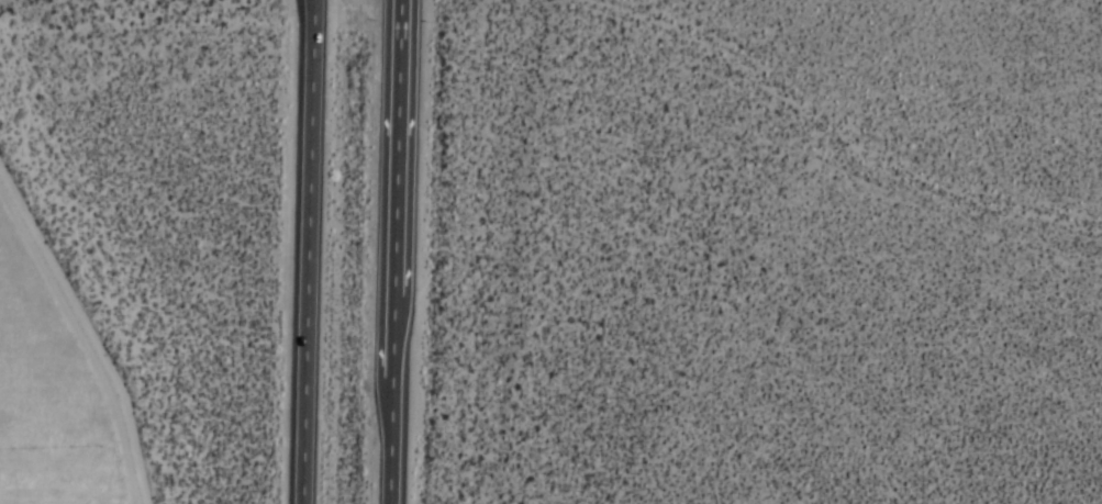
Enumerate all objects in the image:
road: (397, 143)
road: (310, 251)
road: (391, 329)
road: (389, 438)

